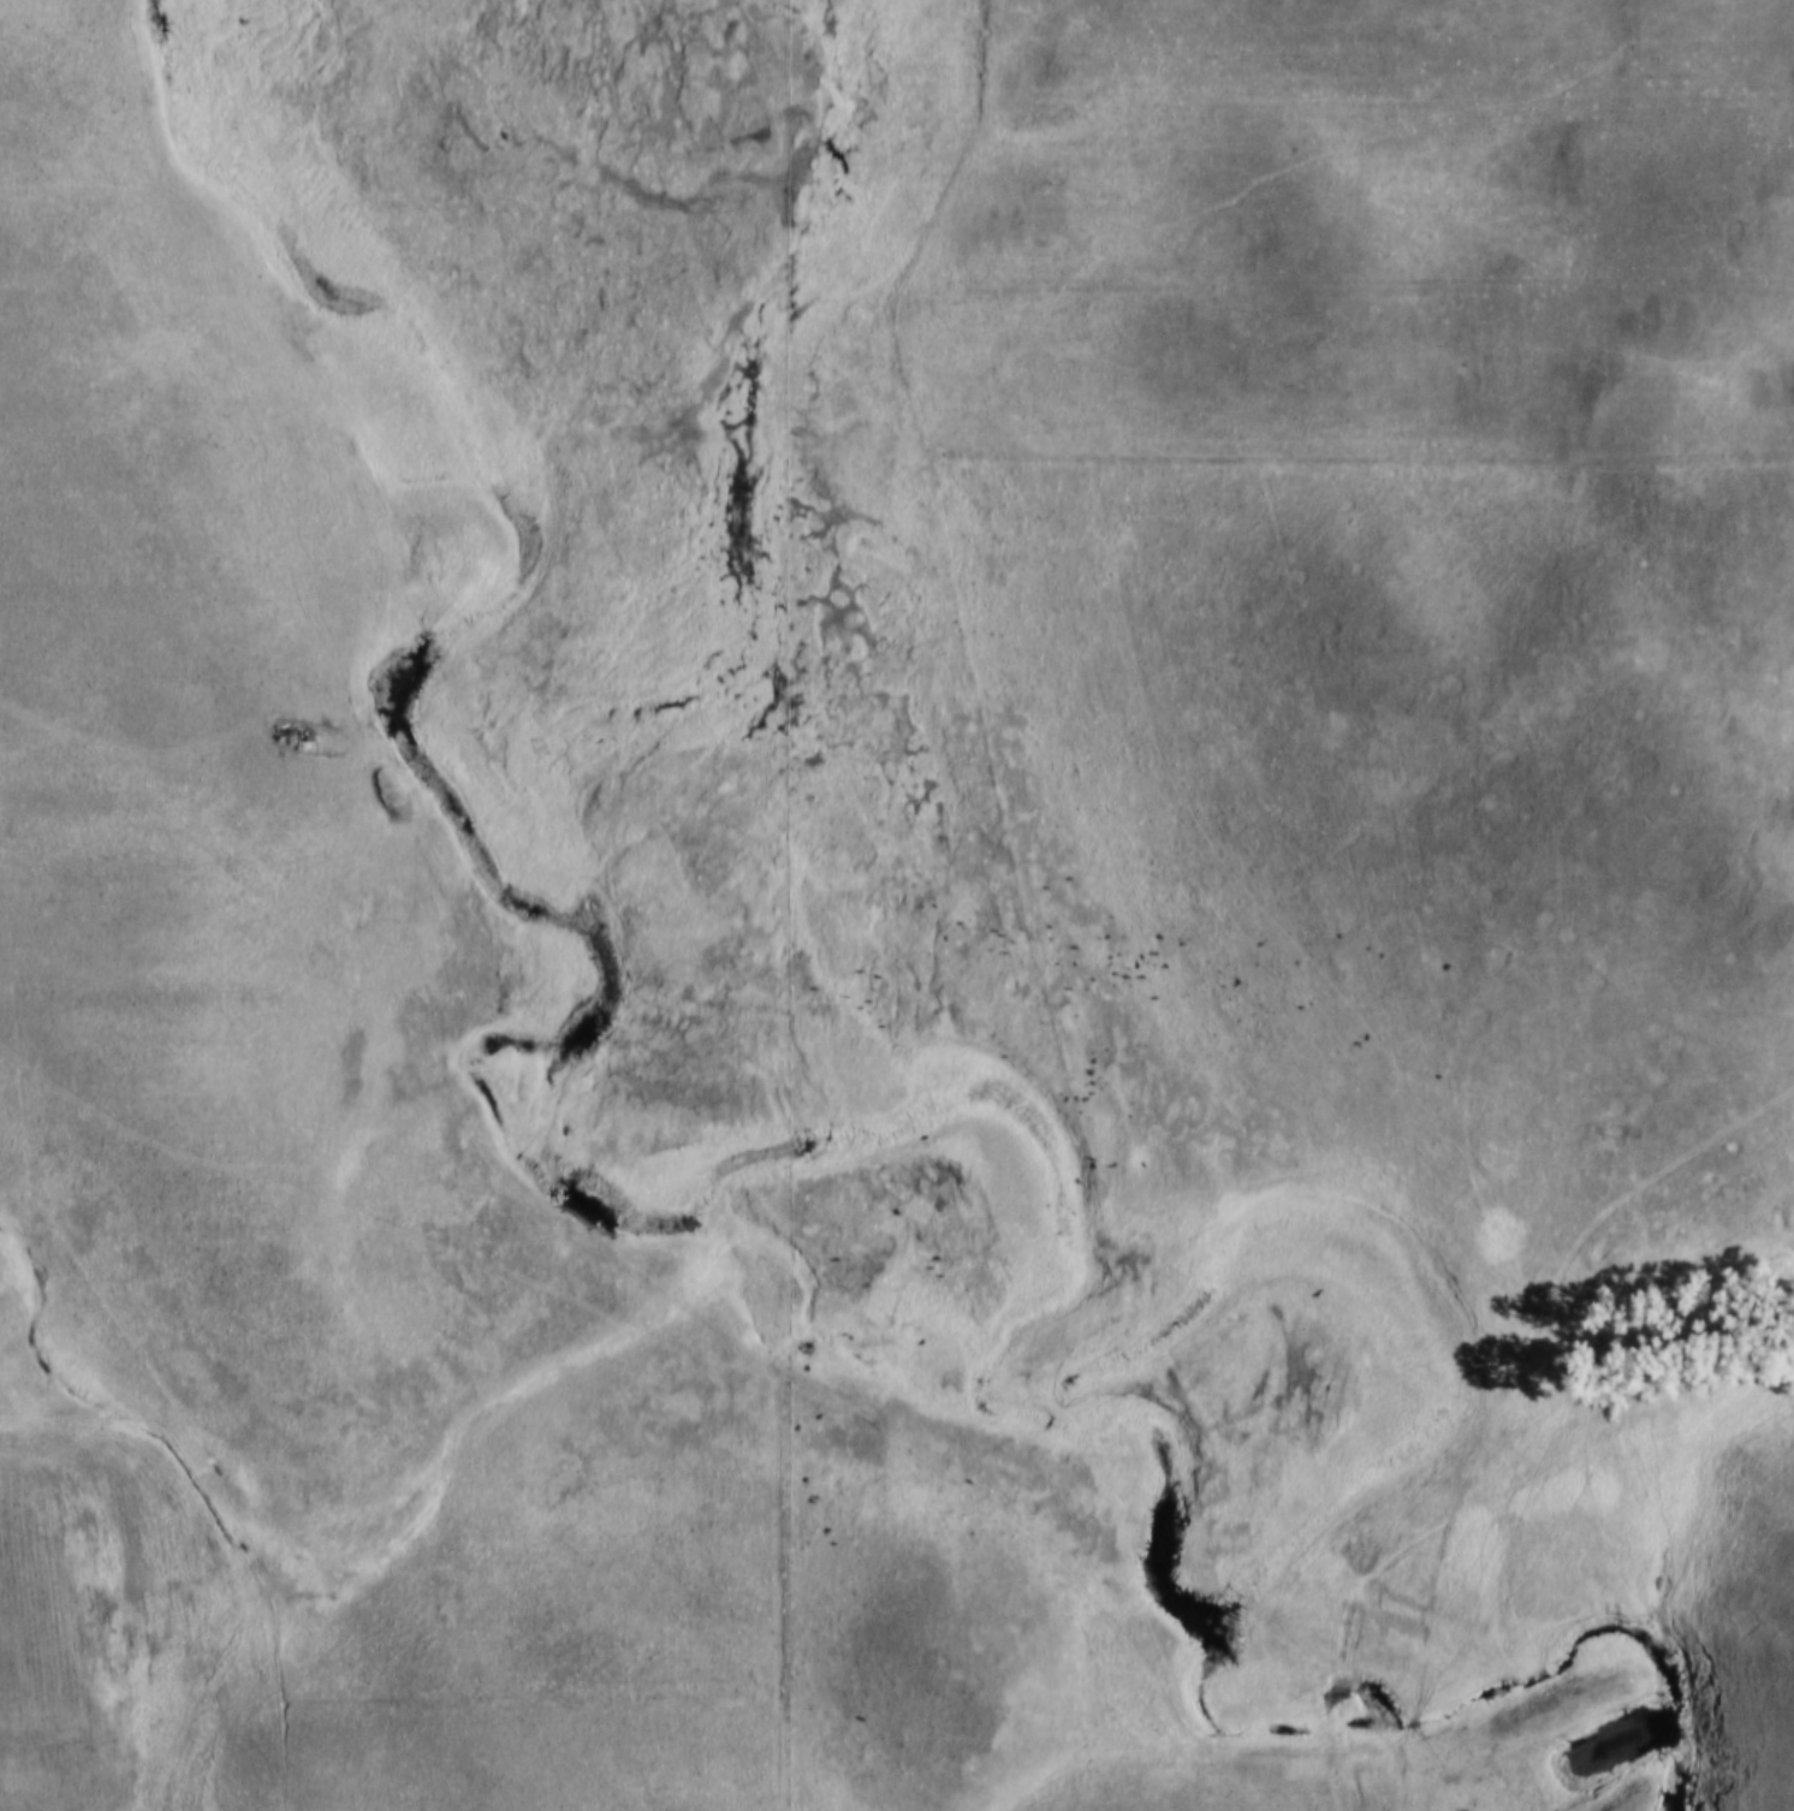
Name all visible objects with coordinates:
road: (49, 1472)
road: (129, 1793)

